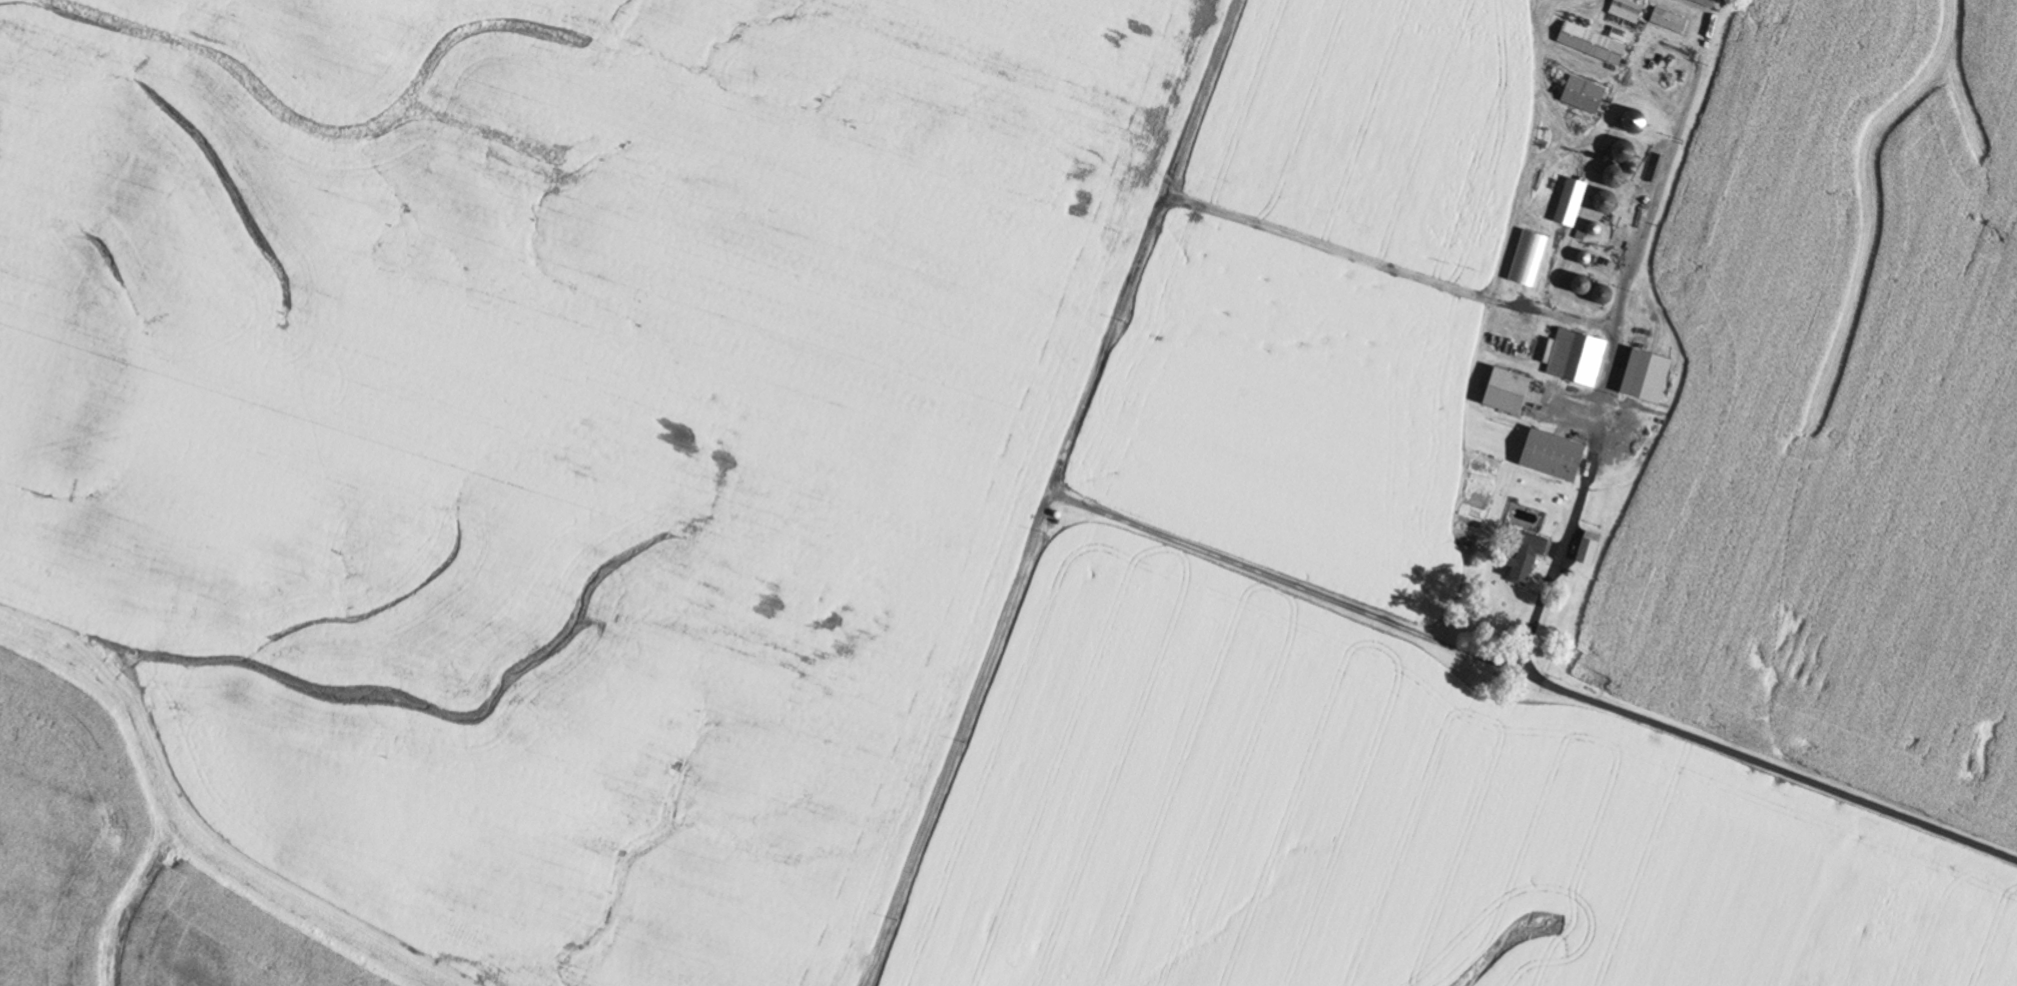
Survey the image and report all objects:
building: (1703, 3)
building: (1624, 10)
building: (1666, 20)
building: (1589, 43)
building: (1580, 94)
building: (1573, 358)
building: (1642, 376)
building: (1501, 391)
building: (1547, 455)
building: (1584, 548)
building: (1522, 556)

